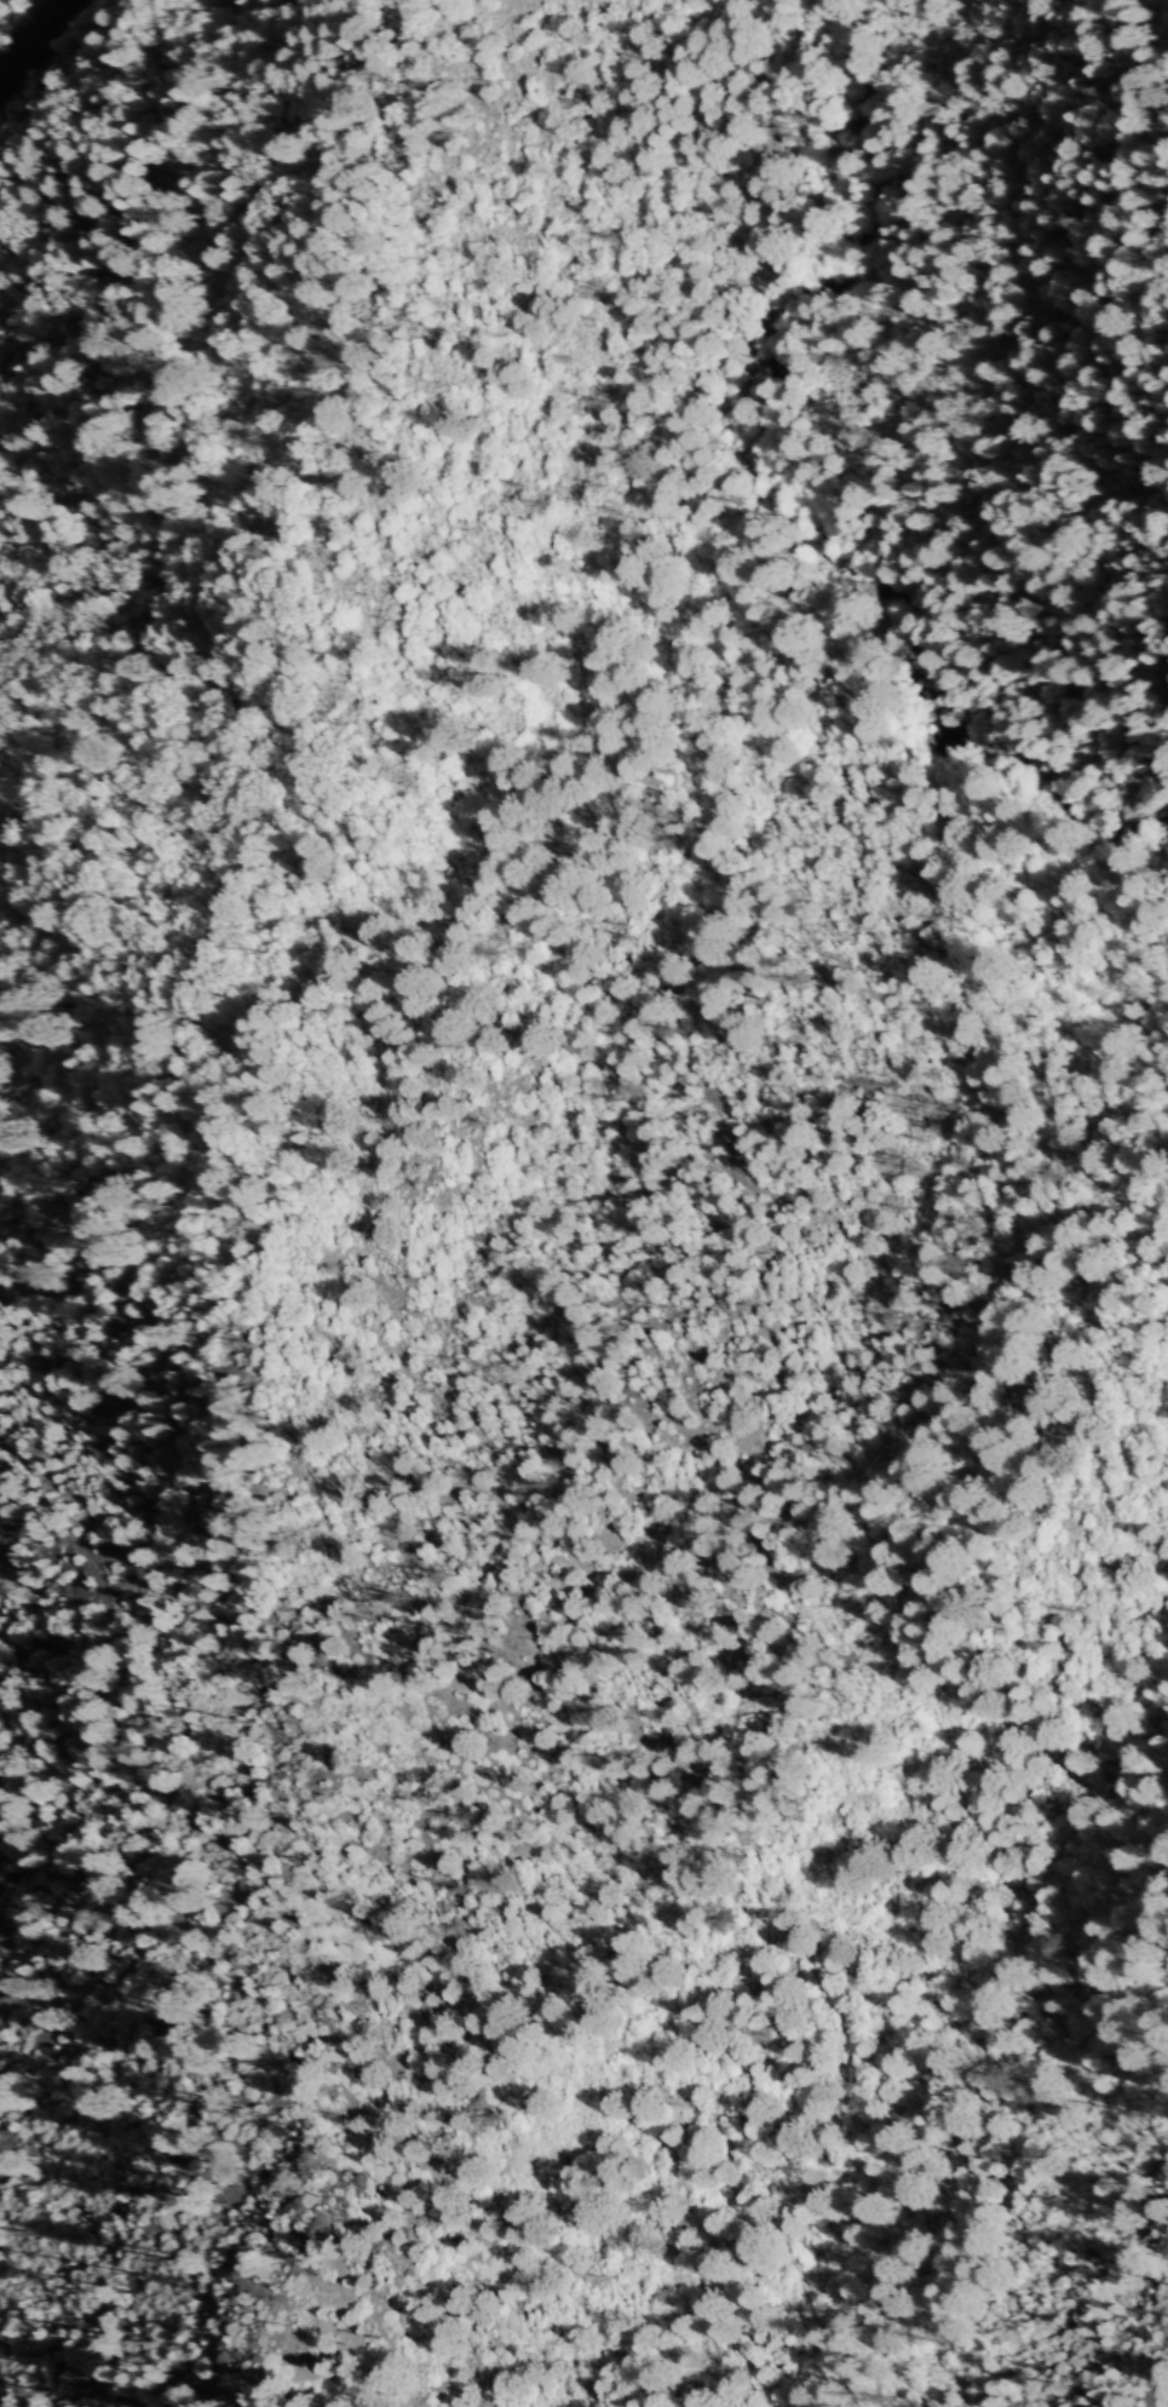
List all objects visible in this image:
railway: (28, 34)
railway: (41, 48)

